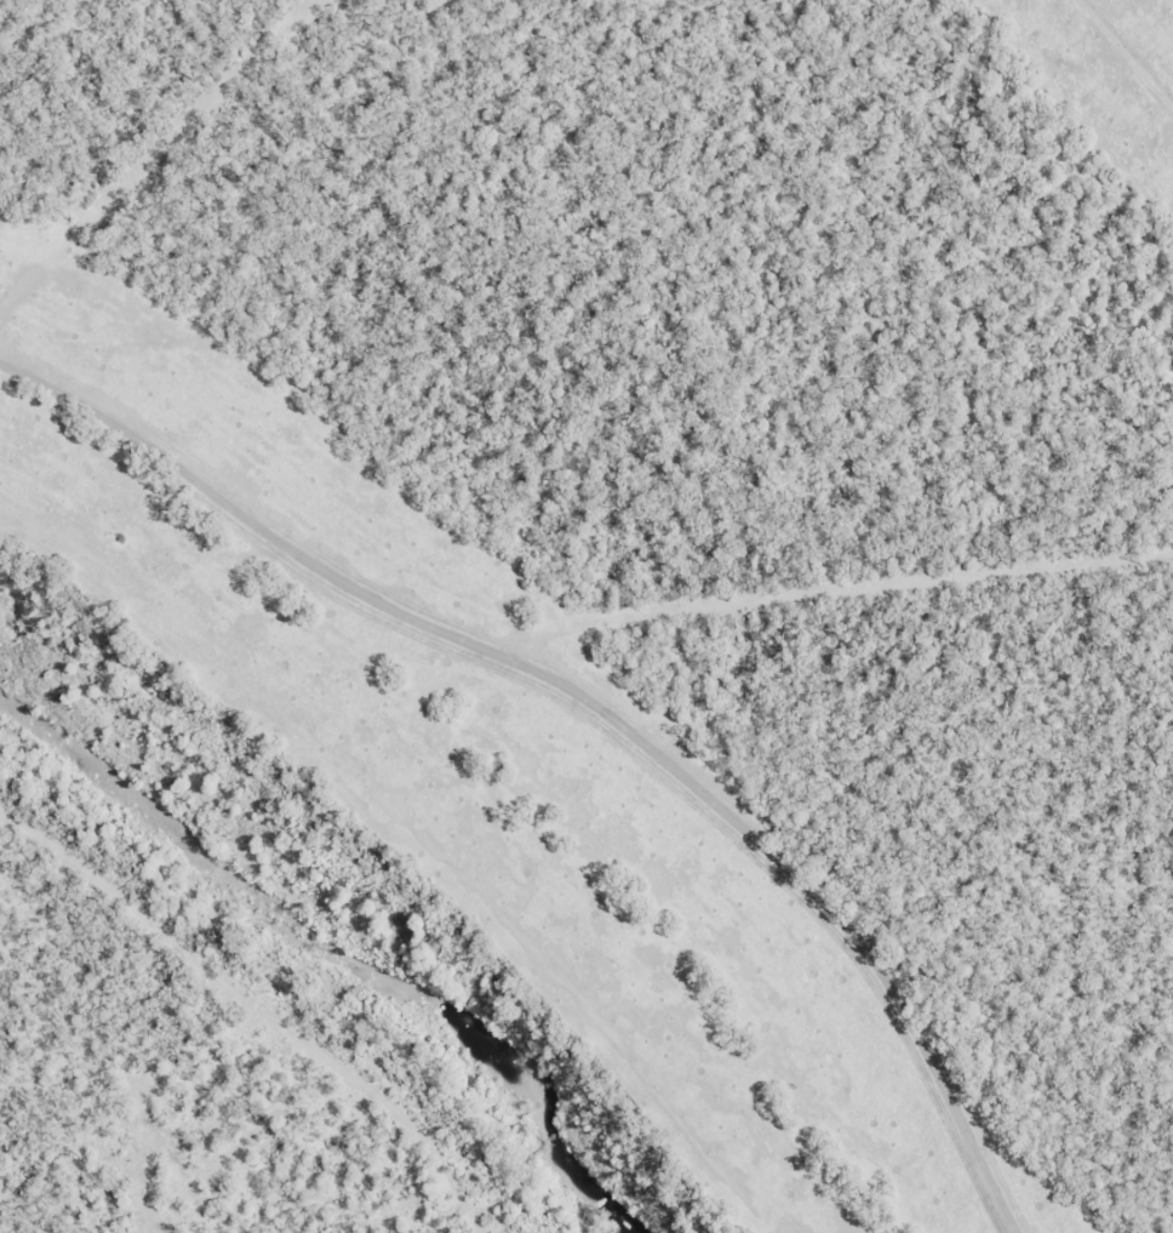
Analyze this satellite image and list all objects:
road: (572, 740)
river: (336, 958)

